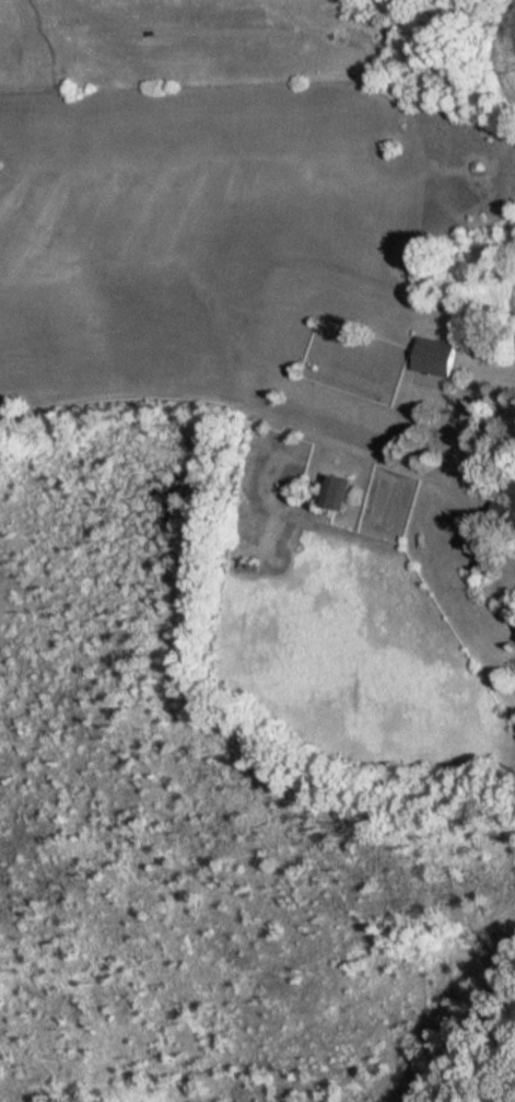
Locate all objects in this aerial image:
building: (435, 356)
road: (245, 409)
building: (512, 483)
building: (336, 489)
building: (513, 518)

